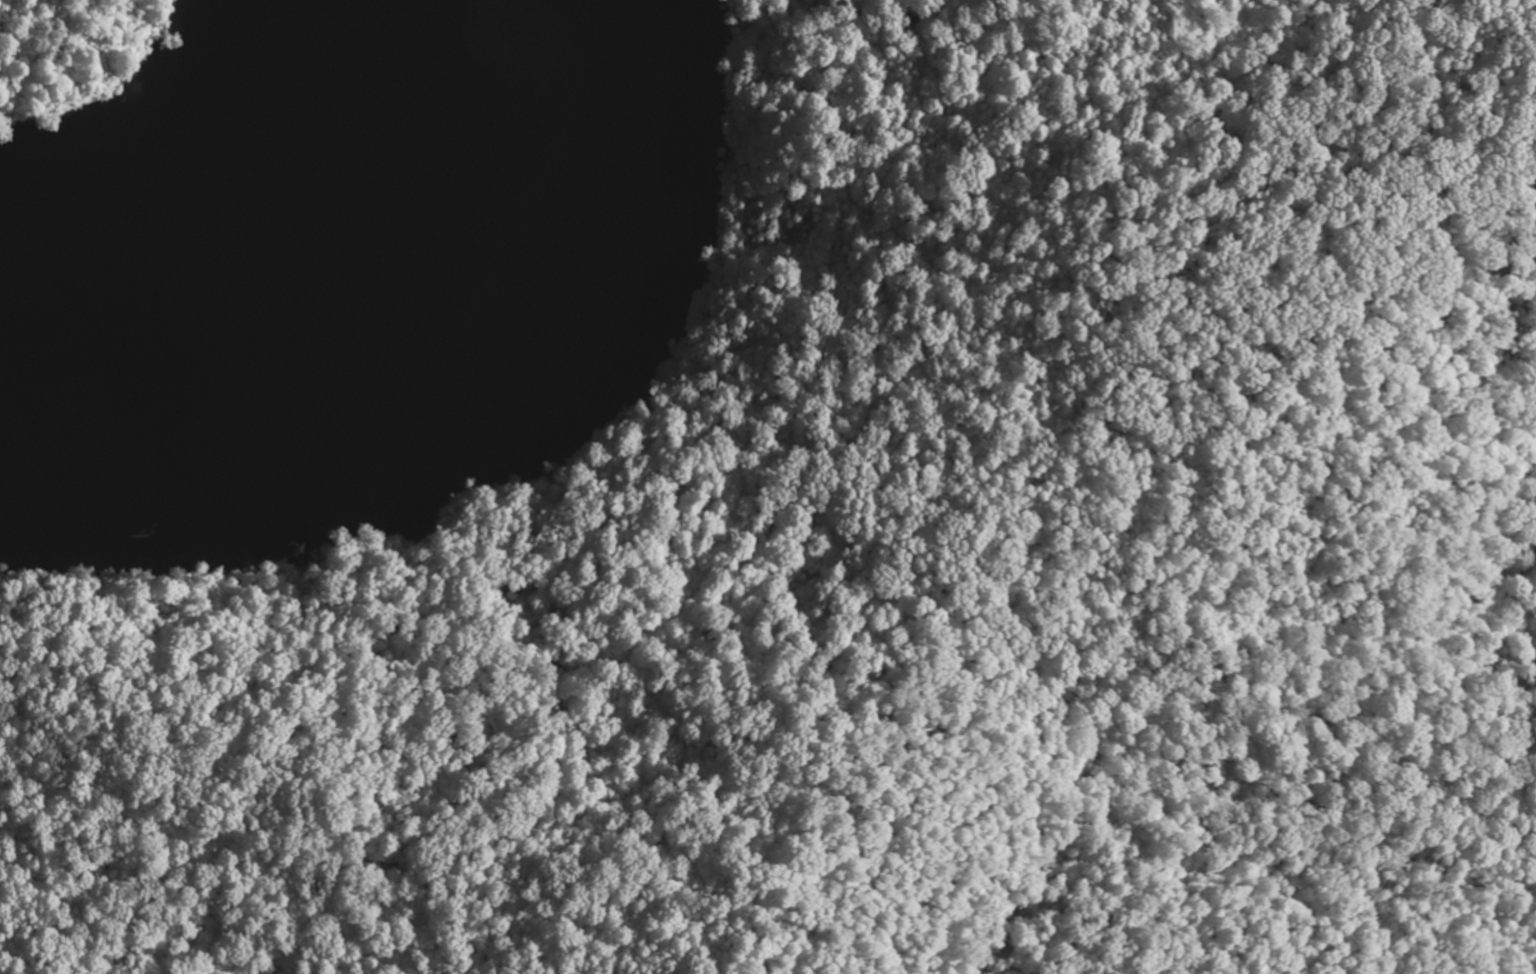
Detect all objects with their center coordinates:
river: (311, 291)
park: (1156, 367)

